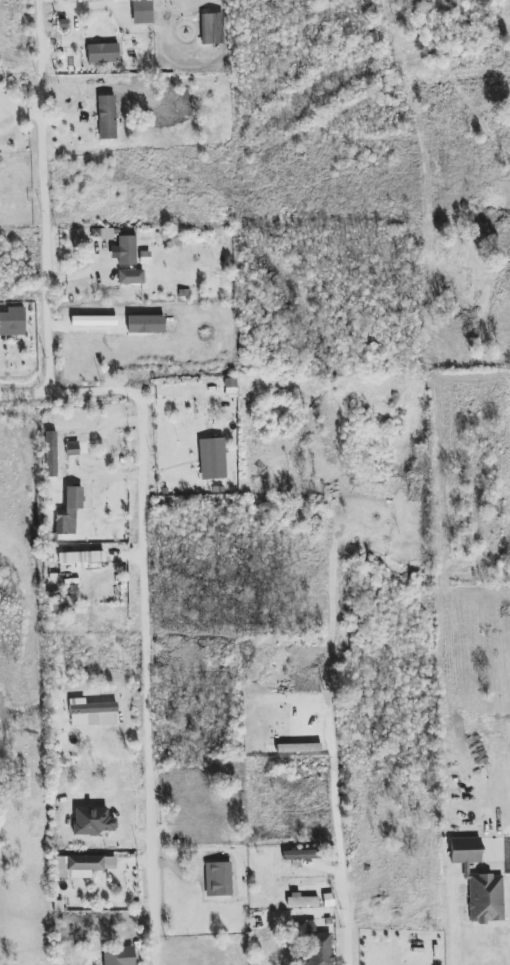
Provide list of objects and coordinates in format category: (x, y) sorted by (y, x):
building: (142, 11)
building: (102, 53)
building: (215, 63)
building: (107, 117)
road: (43, 198)
building: (125, 250)
building: (131, 277)
building: (12, 321)
building: (72, 448)
building: (212, 459)
building: (69, 511)
building: (81, 558)
building: (62, 603)
road: (147, 610)
building: (92, 713)
building: (92, 821)
building: (465, 850)
building: (301, 854)
building: (81, 866)
building: (218, 879)
building: (485, 898)
building: (300, 900)
road: (342, 923)
building: (317, 946)
building: (118, 955)

